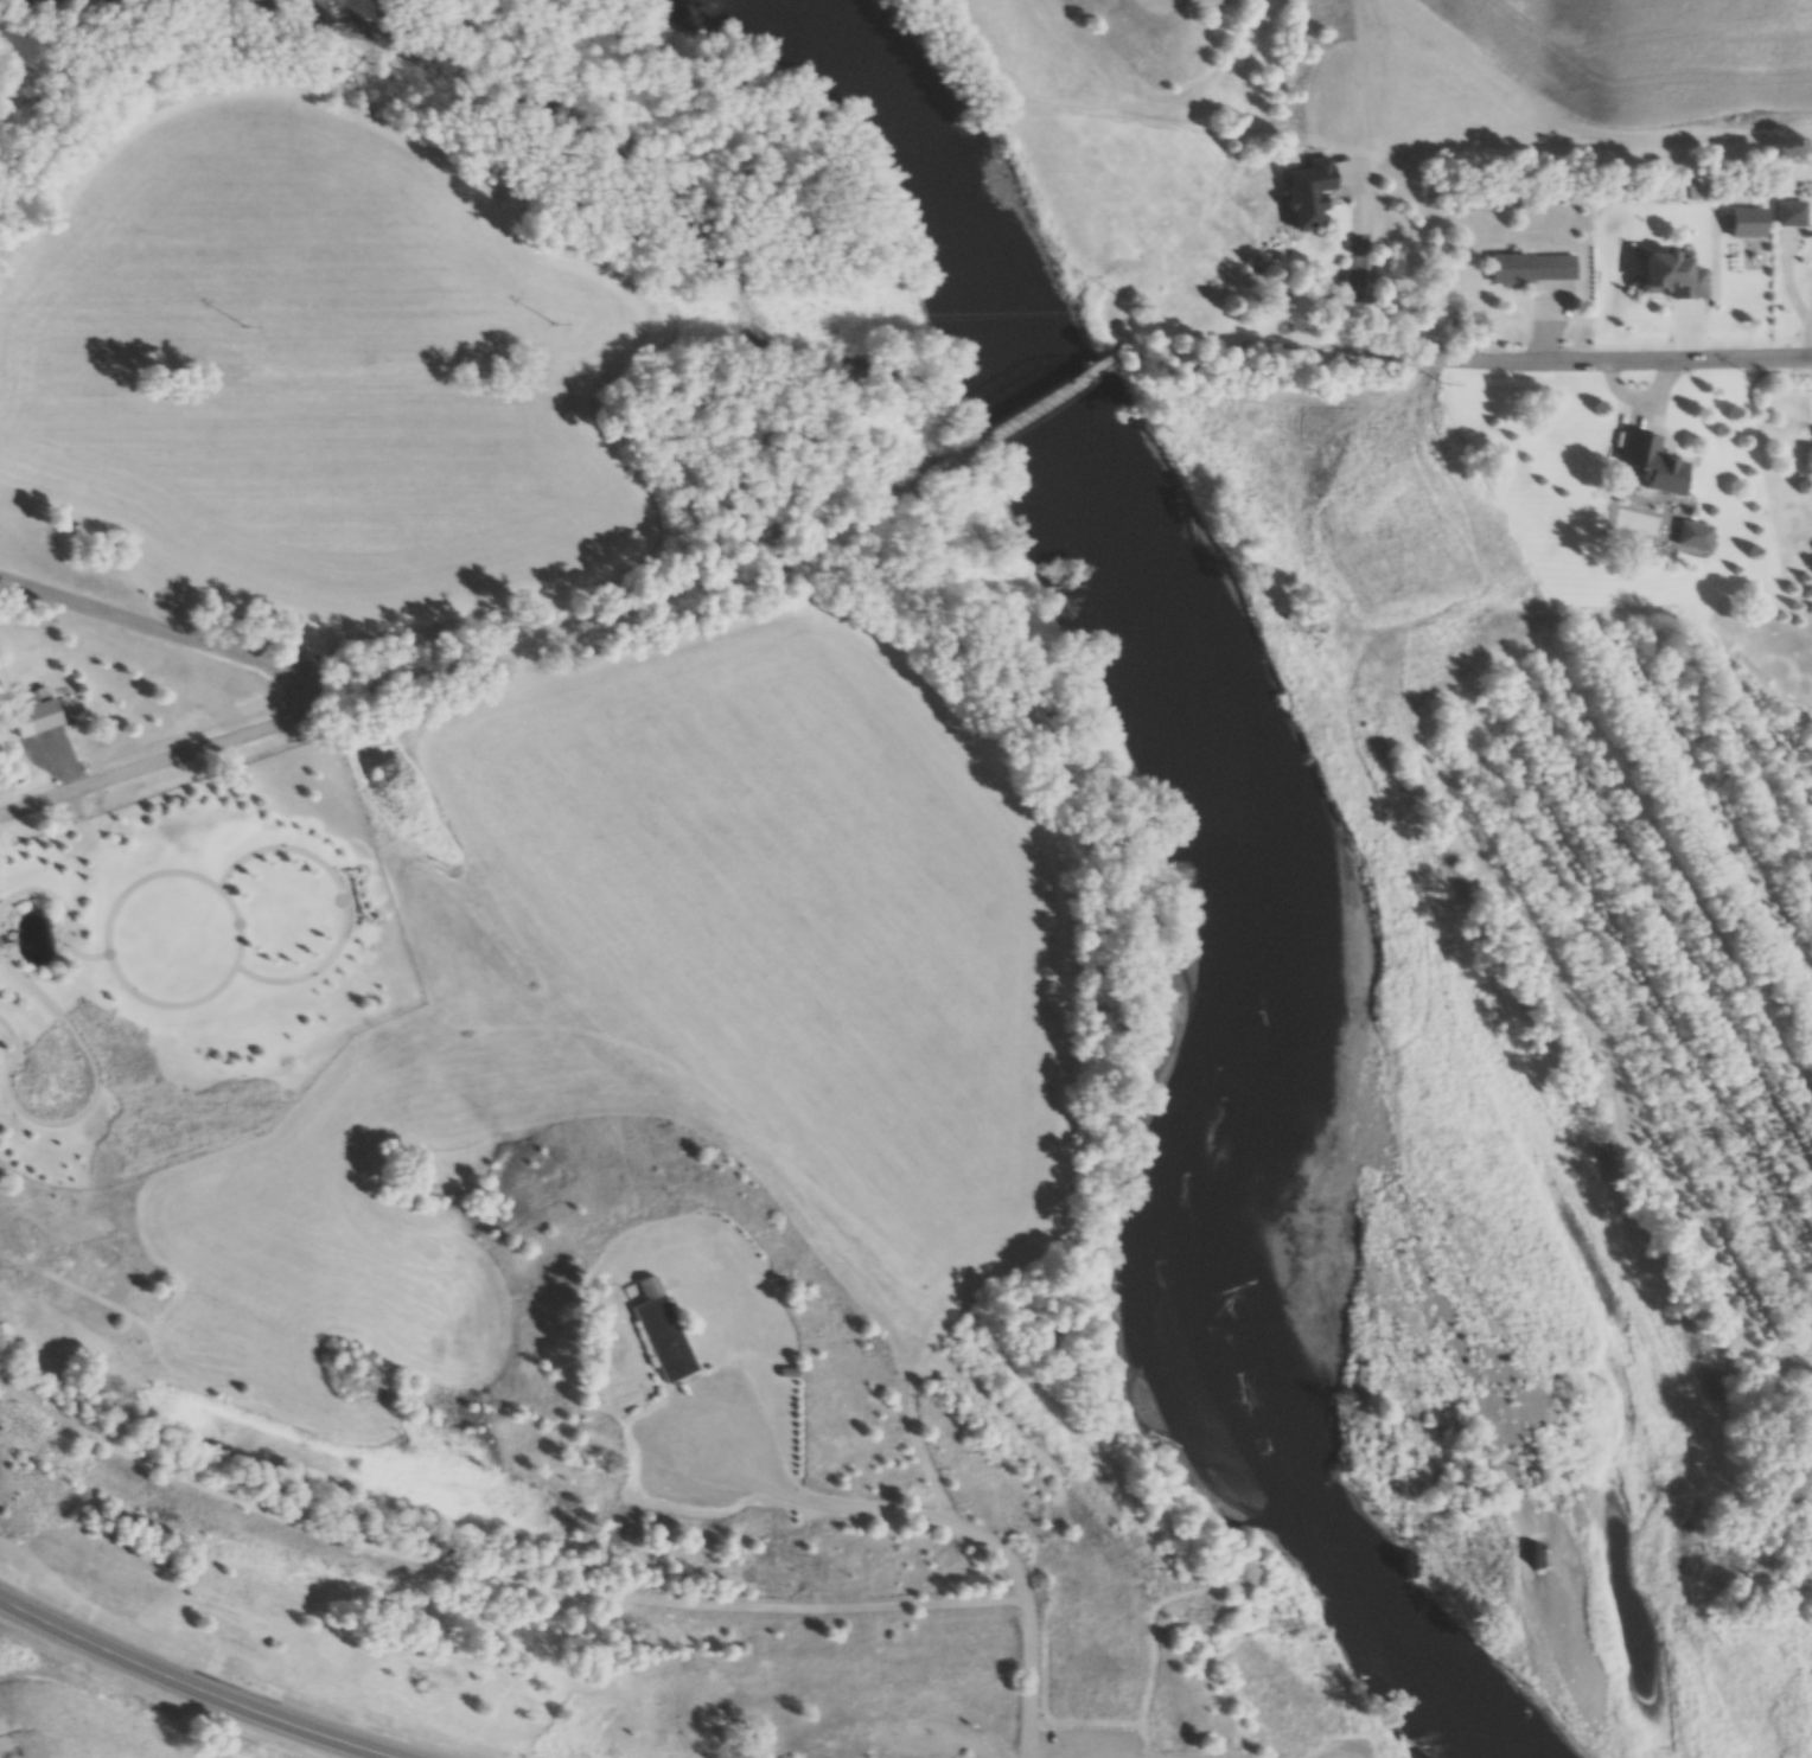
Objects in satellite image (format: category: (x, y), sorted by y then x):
building: (1313, 193)
building: (1536, 268)
road: (1357, 299)
road: (1282, 357)
road: (1620, 360)
road: (1045, 403)
building: (1653, 464)
road: (634, 594)
road: (159, 629)
building: (36, 716)
road: (59, 762)
road: (160, 762)
river: (1256, 880)
building: (664, 1334)
building: (790, 1372)
road: (859, 1508)
road: (496, 1561)
road: (1031, 1628)
road: (192, 1688)
crop: (82, 1727)

